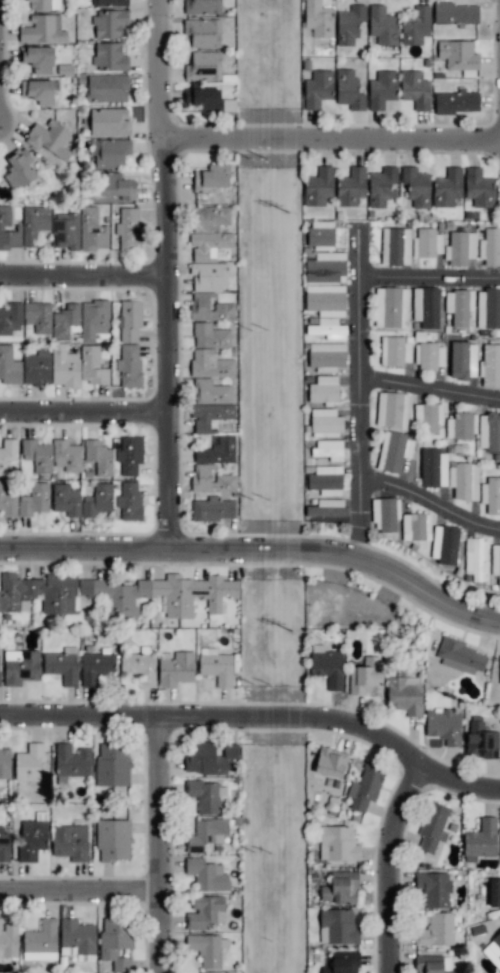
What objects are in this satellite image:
building: (109, 3)
building: (43, 4)
building: (202, 7)
building: (455, 13)
building: (318, 18)
building: (109, 23)
building: (349, 24)
building: (382, 25)
building: (416, 25)
building: (42, 29)
building: (203, 32)
building: (458, 55)
building: (109, 57)
building: (39, 59)
building: (204, 66)
building: (107, 88)
building: (318, 88)
building: (382, 89)
building: (415, 89)
building: (348, 90)
building: (39, 91)
building: (206, 99)
building: (456, 102)
building: (109, 121)
building: (49, 138)
road: (332, 147)
building: (110, 152)
building: (20, 169)
building: (212, 177)
building: (381, 185)
building: (116, 186)
building: (318, 186)
building: (416, 186)
building: (350, 187)
building: (447, 187)
building: (478, 188)
power tower: (289, 215)
building: (210, 217)
building: (34, 223)
building: (128, 228)
building: (8, 230)
building: (65, 230)
building: (92, 230)
building: (320, 234)
building: (427, 243)
building: (209, 245)
building: (395, 246)
building: (490, 247)
building: (460, 248)
building: (208, 277)
road: (171, 278)
road: (86, 284)
road: (428, 288)
building: (326, 293)
building: (224, 306)
building: (425, 306)
building: (459, 306)
building: (391, 307)
building: (488, 308)
building: (38, 316)
building: (10, 318)
building: (94, 319)
building: (65, 320)
building: (129, 320)
building: (210, 336)
building: (395, 351)
building: (429, 355)
building: (326, 356)
road: (358, 356)
building: (462, 360)
building: (210, 364)
building: (9, 365)
building: (129, 365)
building: (64, 366)
building: (92, 366)
building: (490, 366)
building: (36, 367)
building: (323, 389)
building: (210, 392)
road: (429, 398)
building: (392, 409)
building: (210, 416)
building: (427, 417)
road: (86, 420)
building: (325, 423)
building: (459, 426)
building: (489, 431)
building: (328, 449)
building: (217, 450)
building: (393, 451)
building: (8, 453)
building: (129, 454)
building: (37, 455)
building: (66, 455)
building: (98, 457)
building: (433, 468)
building: (211, 479)
building: (326, 480)
building: (463, 480)
building: (491, 494)
building: (8, 500)
building: (34, 500)
building: (66, 500)
building: (97, 500)
building: (129, 502)
building: (212, 509)
building: (327, 510)
road: (427, 511)
building: (385, 514)
road: (359, 523)
building: (416, 526)
building: (444, 544)
building: (475, 556)
road: (257, 557)
building: (495, 562)
building: (38, 593)
building: (160, 594)
power tower: (291, 633)
building: (460, 655)
building: (62, 665)
building: (139, 665)
building: (20, 666)
building: (216, 666)
building: (327, 666)
building: (95, 667)
building: (175, 667)
building: (499, 671)
building: (366, 676)
building: (405, 694)
road: (257, 725)
building: (444, 725)
building: (480, 739)
building: (208, 757)
building: (71, 762)
building: (330, 762)
building: (5, 763)
building: (29, 763)
building: (112, 764)
building: (365, 786)
building: (206, 795)
building: (432, 827)
building: (206, 834)
building: (32, 837)
building: (113, 839)
building: (480, 840)
building: (70, 842)
building: (337, 843)
building: (4, 846)
road: (163, 848)
road: (391, 867)
building: (206, 874)
building: (340, 888)
building: (434, 888)
building: (494, 892)
road: (82, 896)
building: (205, 913)
building: (337, 926)
building: (436, 930)
building: (77, 939)
building: (8, 940)
building: (41, 941)
building: (116, 941)
building: (205, 949)
building: (493, 950)
building: (342, 963)
building: (433, 964)

